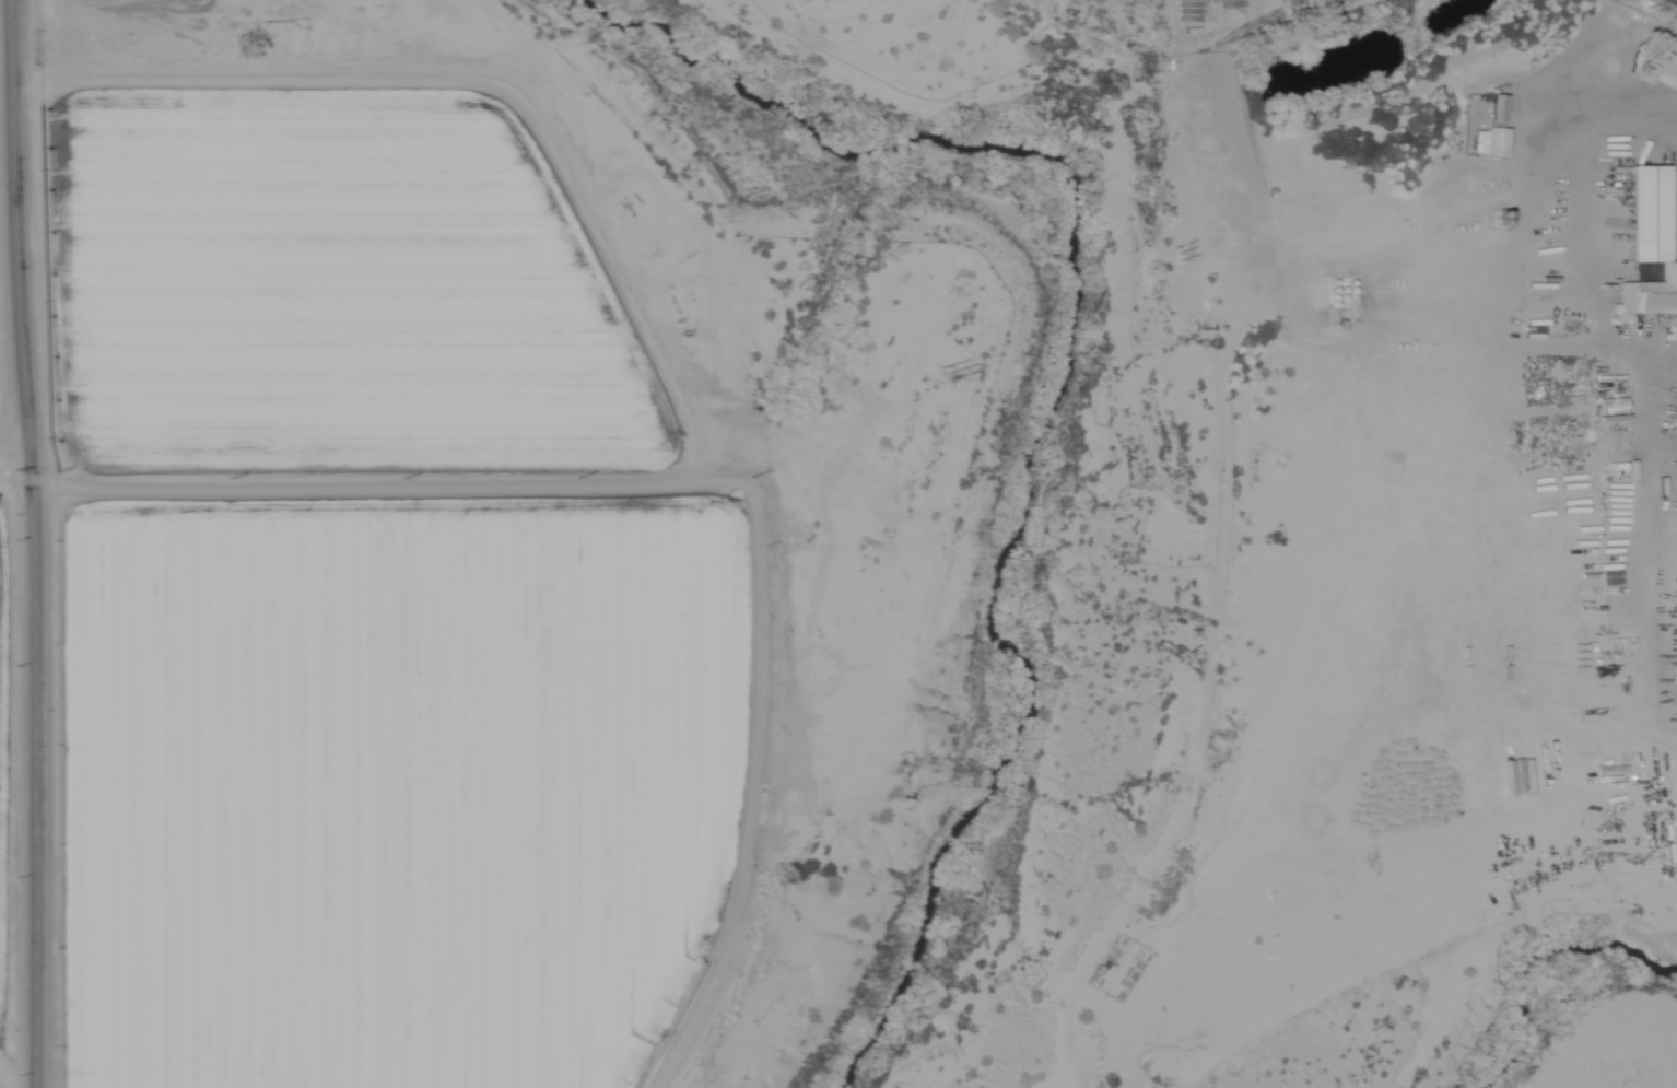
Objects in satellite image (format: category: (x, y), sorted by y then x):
building: (44, 0)
park: (896, 52)
building: (1660, 70)
building: (1490, 130)
building: (1645, 247)
crop: (325, 289)
river: (1058, 399)
road: (13, 453)
road: (31, 543)
crop: (3, 780)
crop: (396, 786)
river: (1551, 970)

